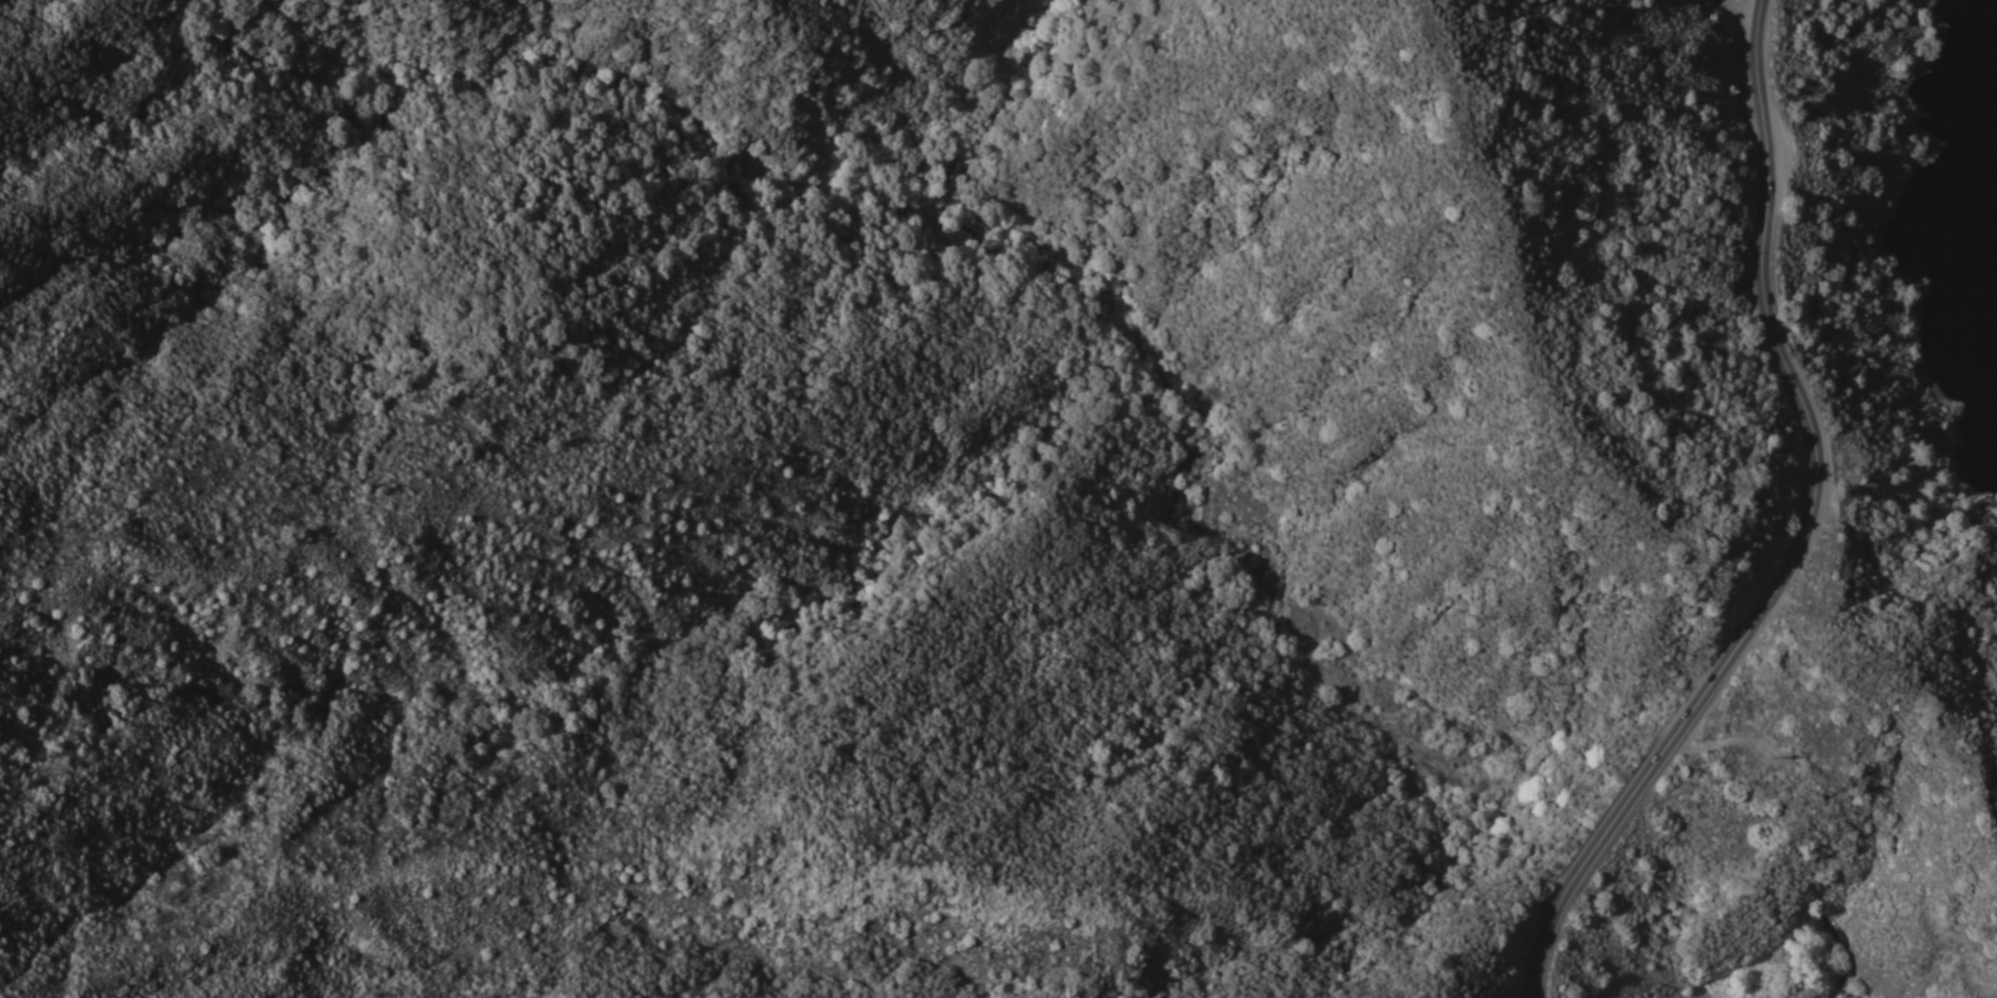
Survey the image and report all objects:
road: (1807, 532)

